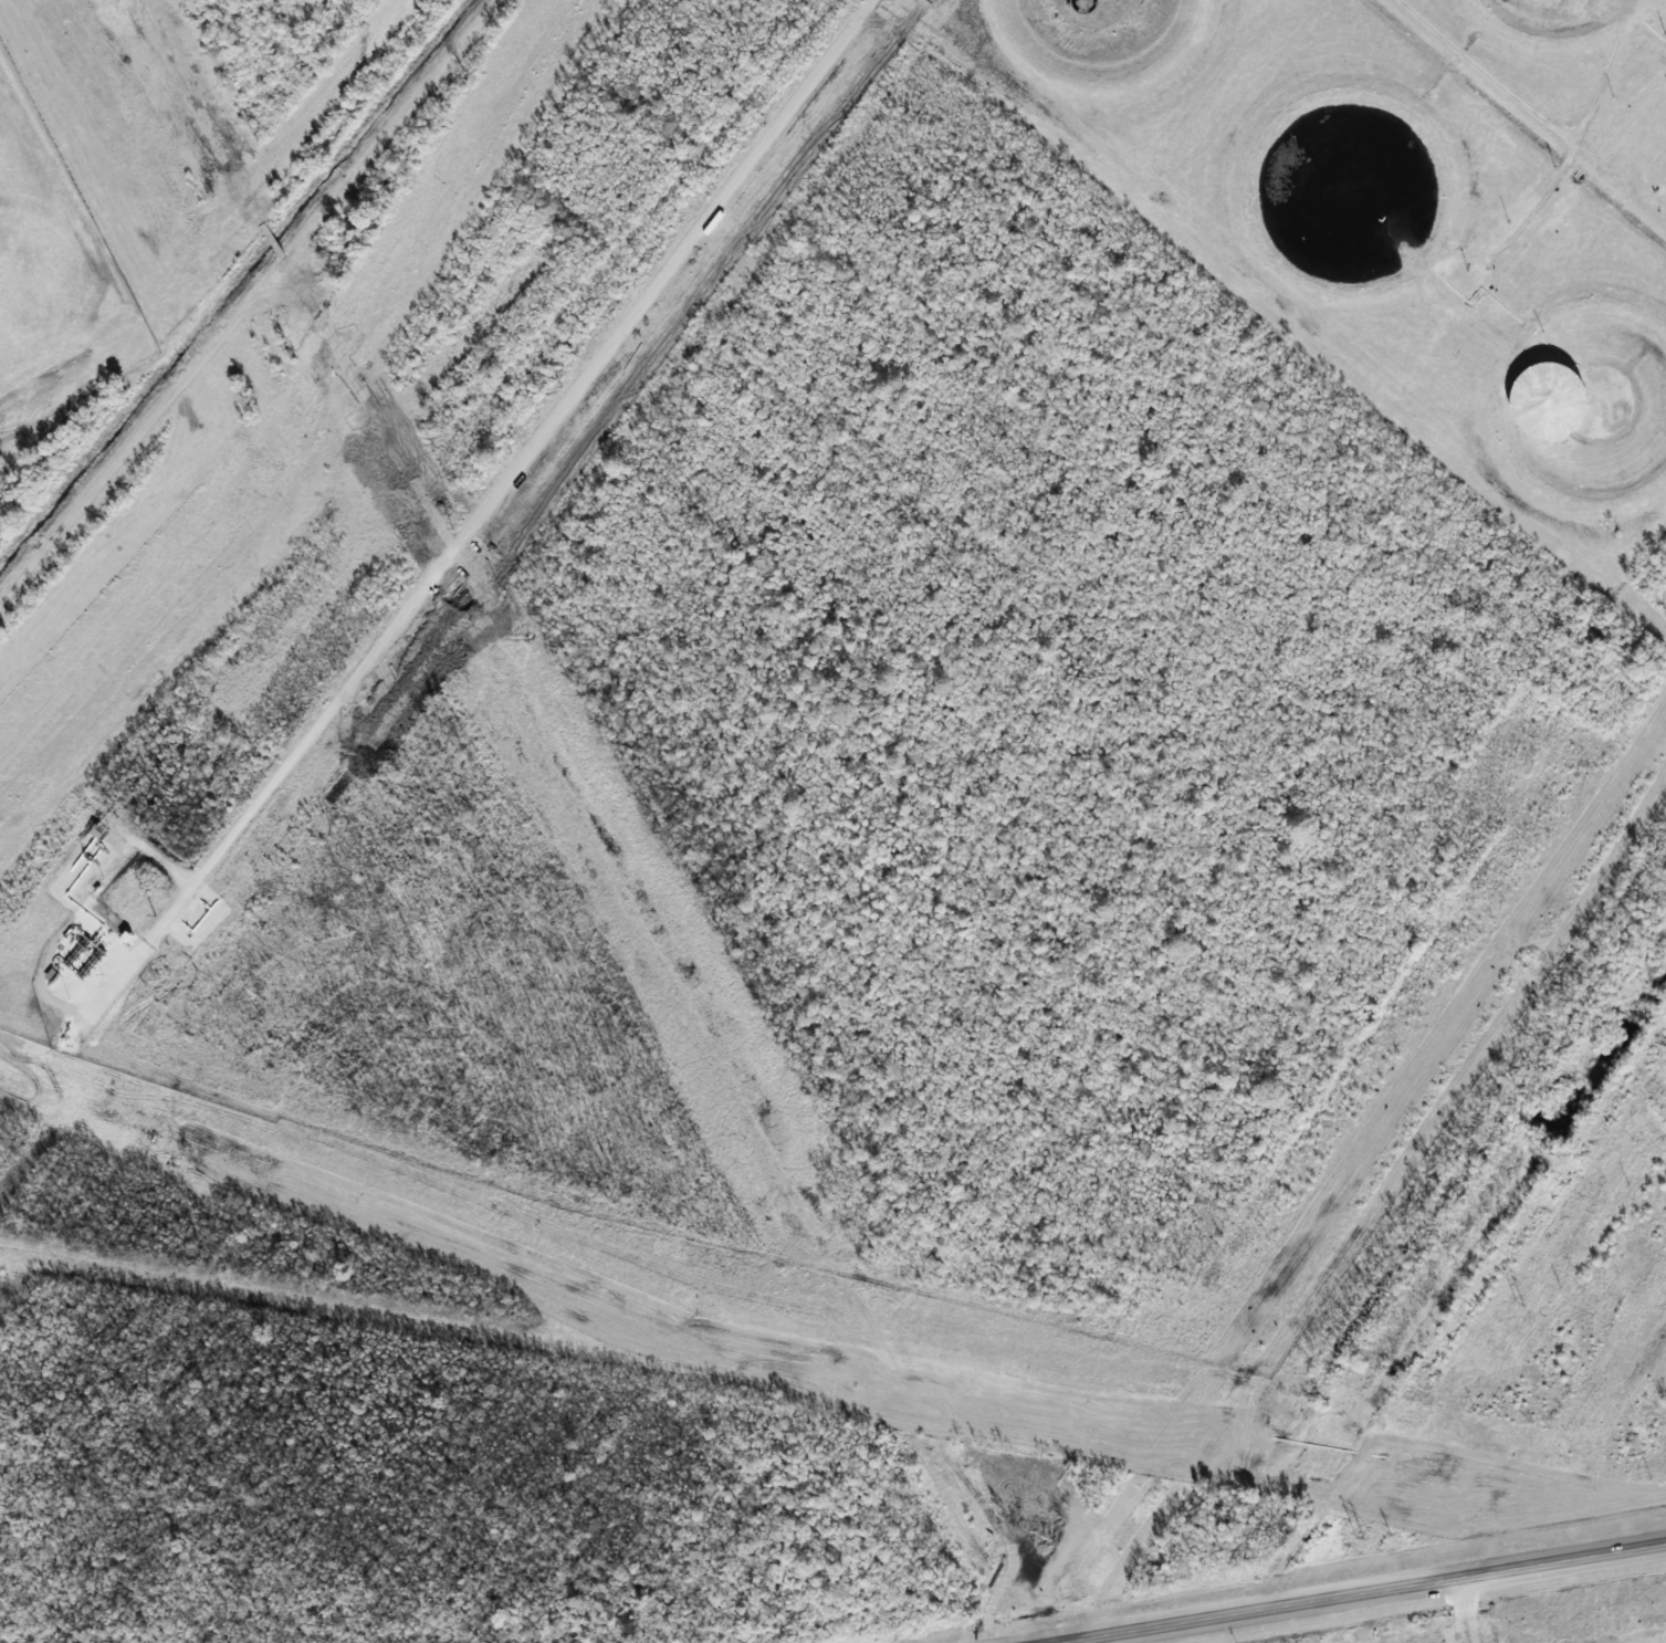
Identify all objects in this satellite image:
building: (1560, 12)
storage tank: (1560, 12)
road: (1544, 122)
building: (1351, 245)
storage tank: (1351, 245)
building: (1557, 422)
storage tank: (1557, 422)
power tower: (1517, 1302)
power tower: (1356, 1535)
road: (1362, 1594)

